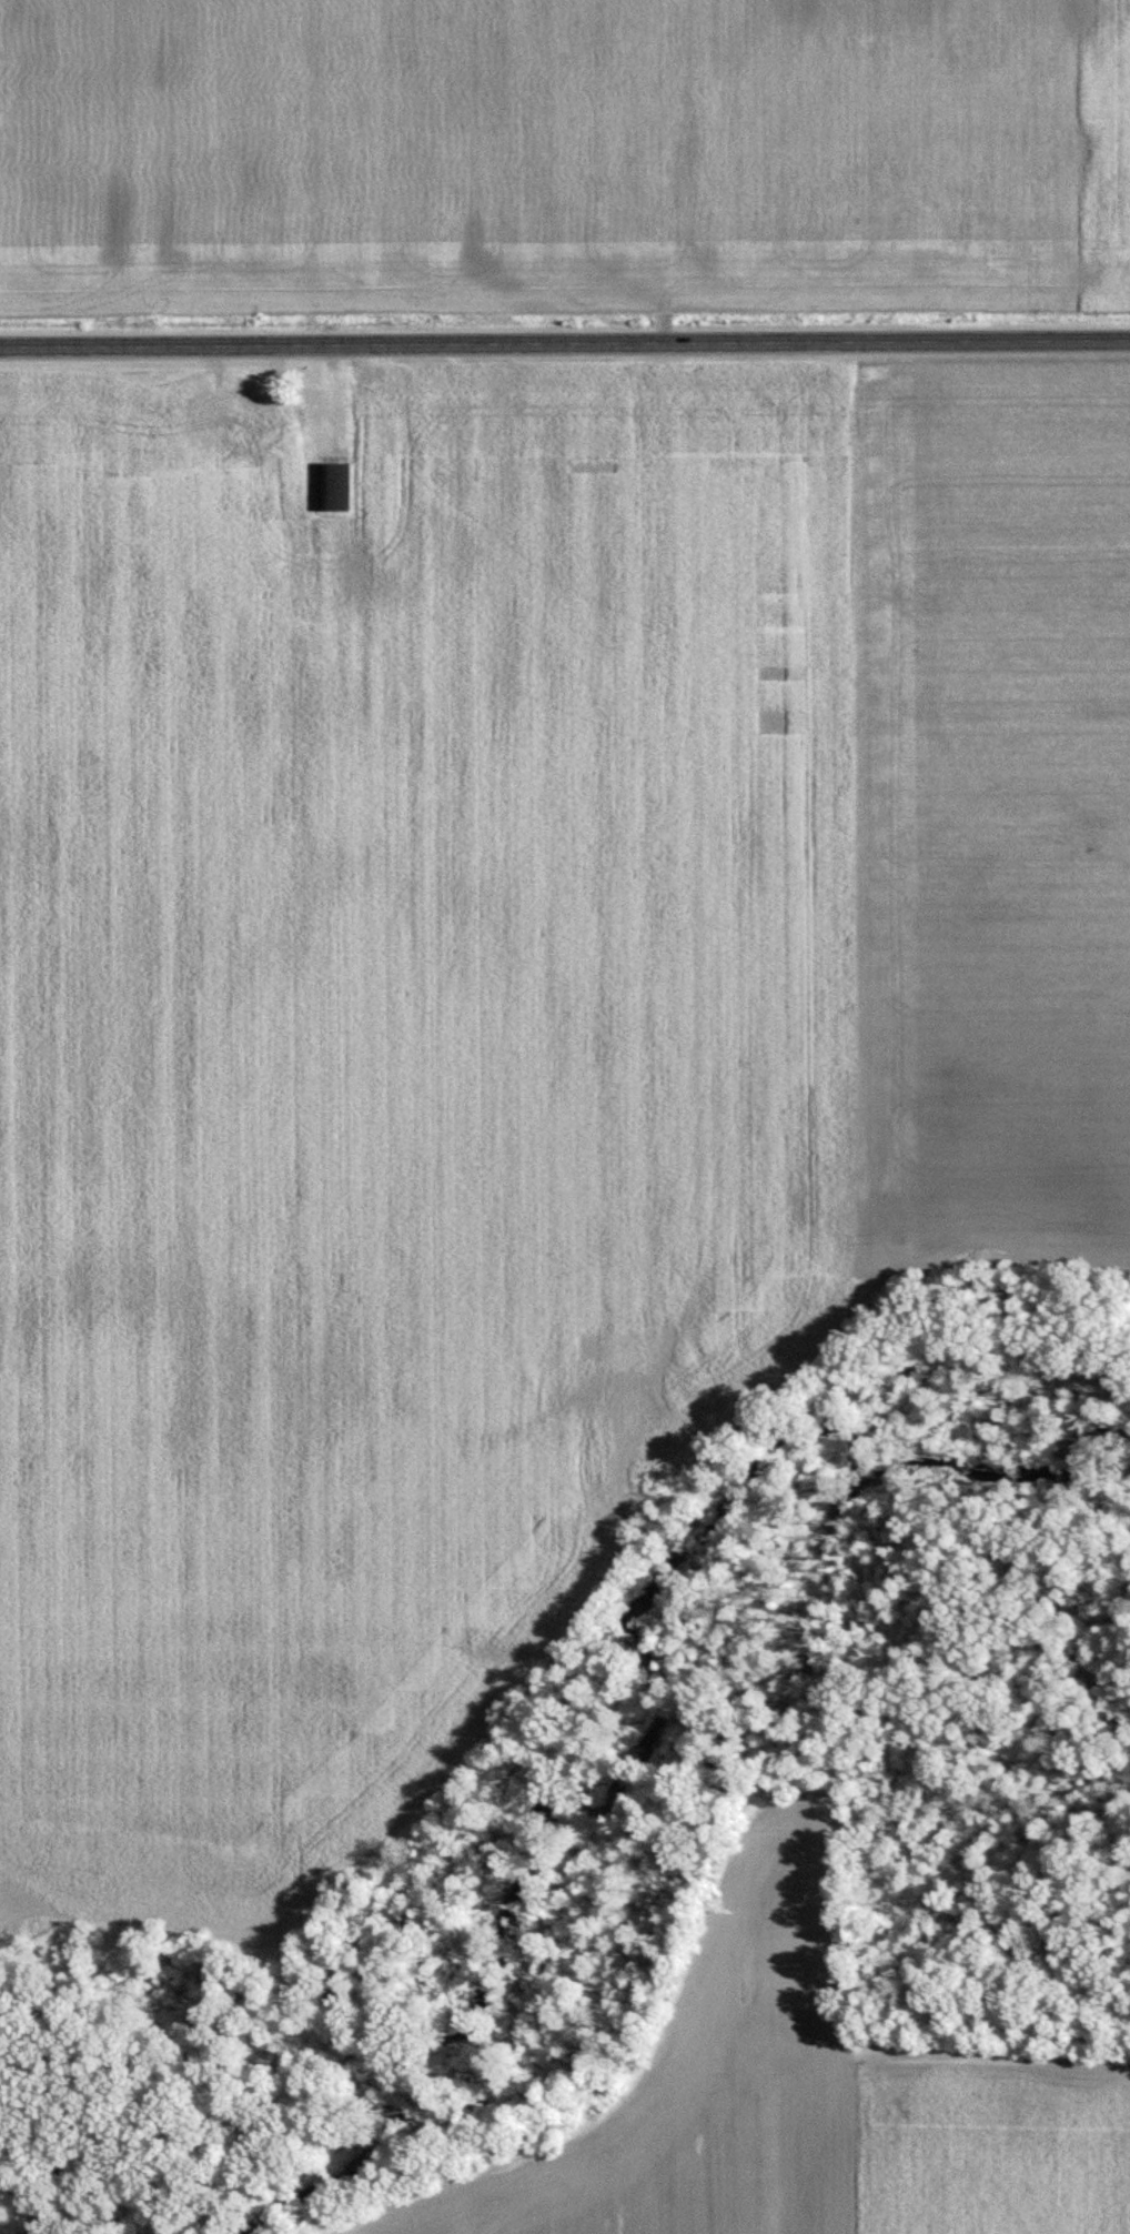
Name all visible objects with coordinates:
road: (565, 344)
river: (646, 1713)
river: (65, 2177)

